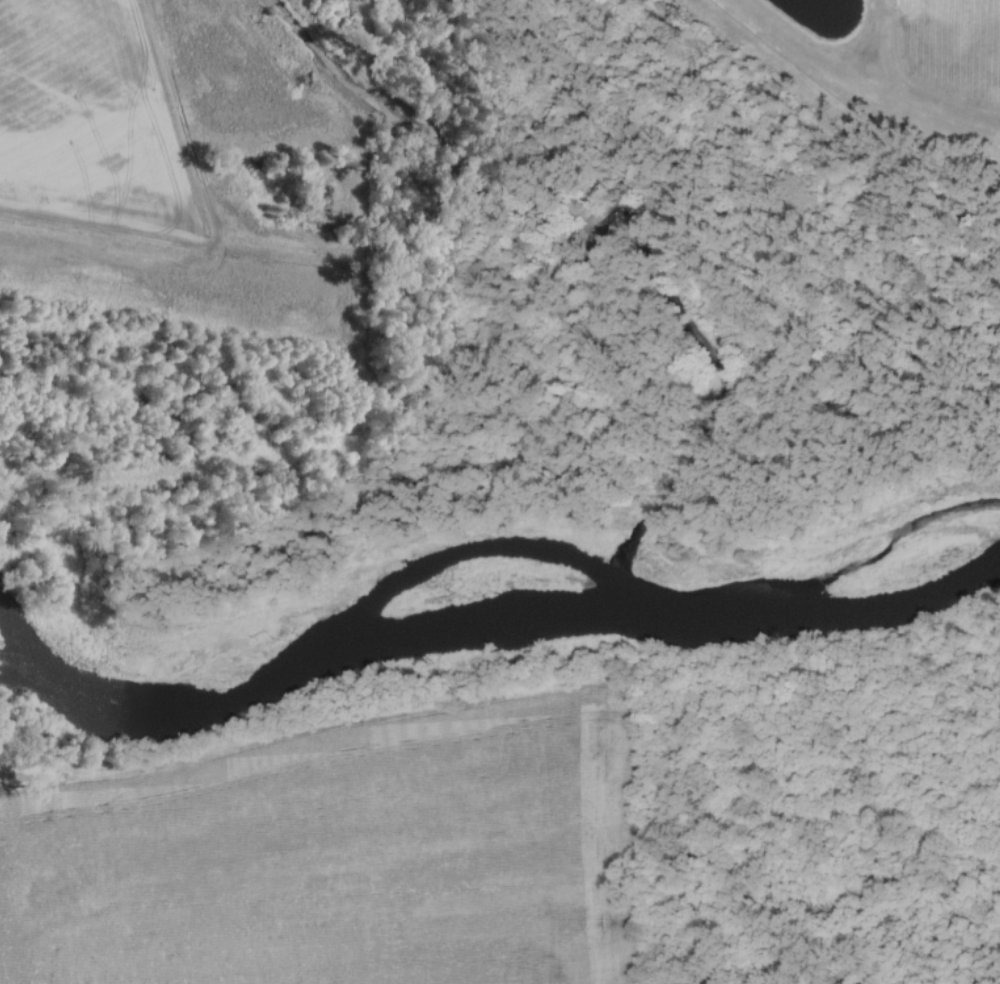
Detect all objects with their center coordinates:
river: (487, 619)

